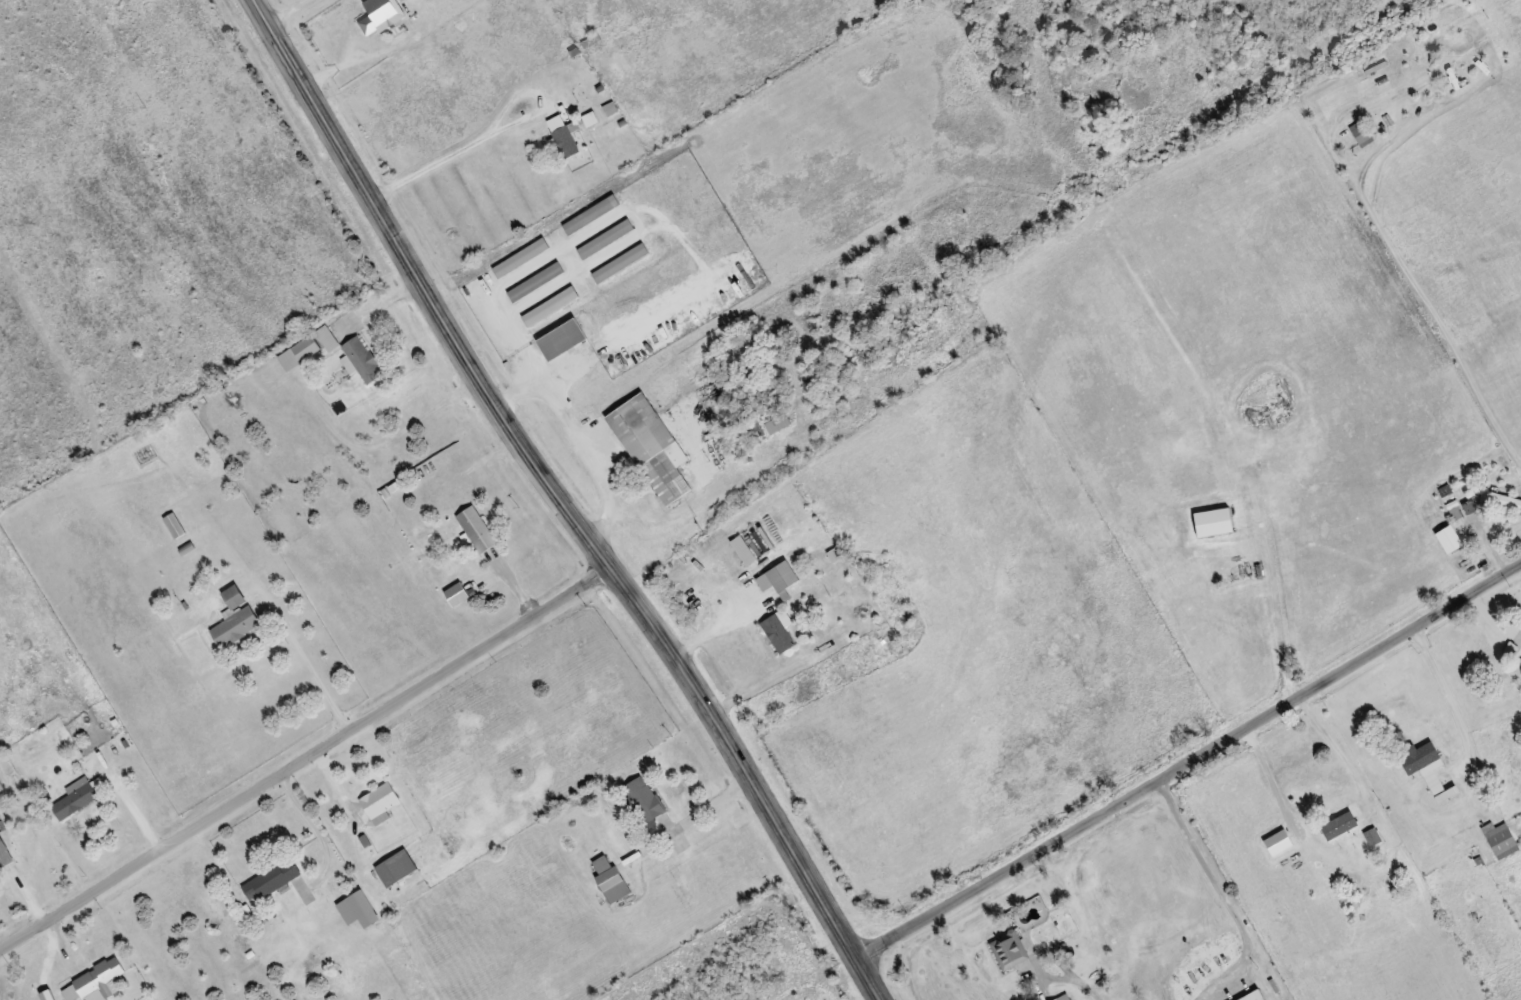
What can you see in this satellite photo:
building: (385, 12)
road: (1378, 15)
road: (421, 57)
building: (1361, 133)
building: (562, 134)
building: (590, 214)
building: (605, 238)
building: (521, 257)
building: (620, 262)
building: (535, 281)
building: (550, 305)
building: (327, 337)
building: (561, 338)
building: (299, 352)
building: (362, 358)
building: (777, 422)
building: (651, 446)
building: (146, 454)
building: (1501, 499)
road: (564, 501)
building: (1213, 521)
building: (175, 525)
building: (476, 528)
building: (778, 577)
building: (456, 593)
building: (235, 618)
building: (779, 629)
building: (1520, 659)
road: (304, 756)
road: (1188, 762)
building: (1431, 769)
building: (1, 788)
building: (77, 797)
building: (643, 798)
building: (379, 801)
building: (1344, 823)
building: (1500, 839)
building: (3, 849)
building: (395, 867)
building: (276, 877)
building: (610, 879)
building: (1009, 950)
building: (94, 981)
building: (1254, 996)
building: (1063, 997)

